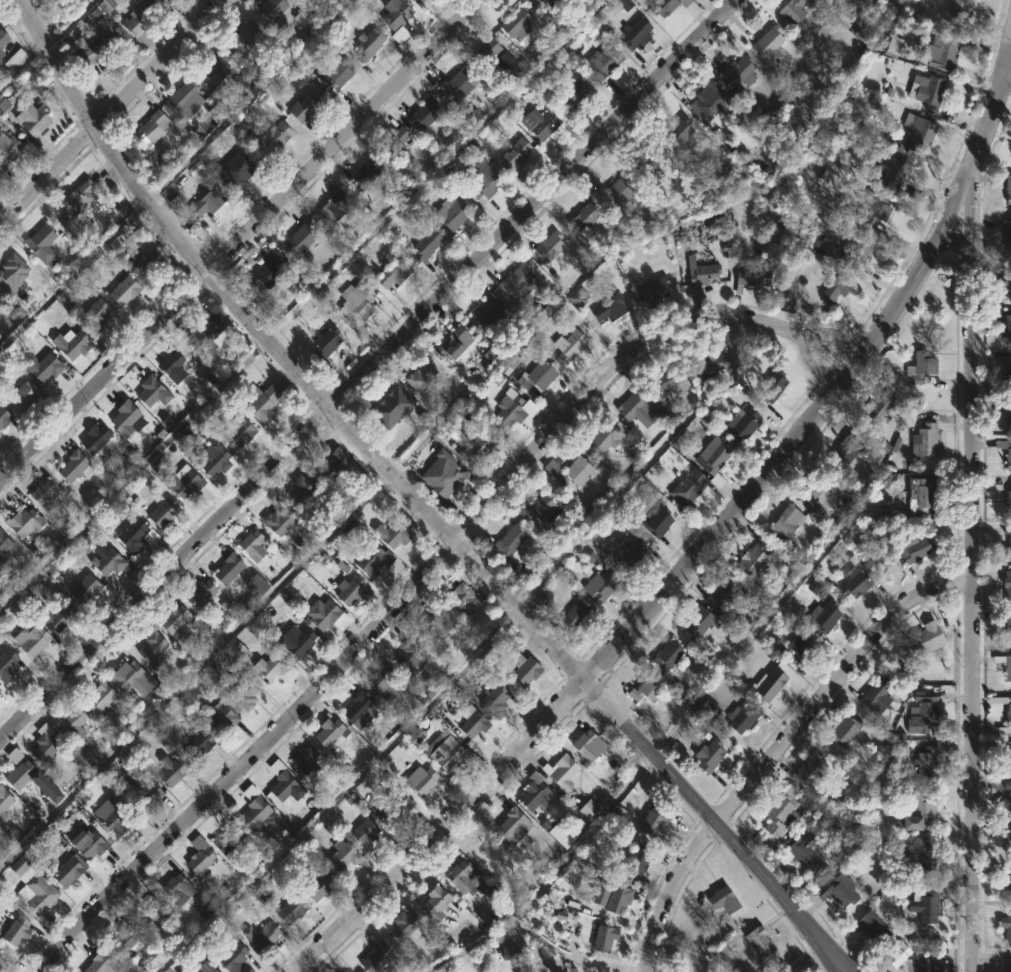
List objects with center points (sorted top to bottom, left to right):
building: (419, 0)
building: (422, 0)
building: (827, 0)
building: (546, 3)
building: (663, 6)
building: (270, 8)
building: (790, 10)
building: (954, 11)
building: (395, 15)
building: (304, 17)
building: (142, 19)
building: (512, 22)
building: (635, 33)
building: (240, 36)
building: (3, 42)
building: (366, 43)
building: (769, 45)
building: (91, 46)
building: (482, 52)
building: (941, 52)
building: (15, 61)
building: (600, 62)
road: (59, 63)
road: (159, 63)
building: (213, 65)
building: (737, 73)
road: (1006, 73)
building: (335, 75)
building: (458, 82)
building: (926, 92)
building: (571, 94)
building: (183, 98)
building: (710, 101)
building: (301, 107)
building: (422, 112)
building: (36, 118)
building: (543, 122)
building: (152, 128)
building: (675, 131)
building: (918, 134)
building: (271, 135)
road: (347, 137)
building: (393, 142)
building: (7, 152)
building: (514, 155)
building: (647, 163)
building: (242, 171)
building: (892, 171)
road: (48, 174)
building: (361, 174)
building: (480, 180)
building: (619, 188)
building: (1008, 189)
building: (77, 200)
road: (147, 201)
building: (203, 203)
building: (331, 208)
building: (872, 208)
building: (582, 216)
building: (450, 217)
building: (1007, 235)
building: (298, 237)
building: (44, 243)
building: (425, 245)
building: (546, 247)
building: (858, 249)
building: (147, 258)
building: (699, 271)
building: (14, 273)
building: (261, 274)
building: (390, 274)
building: (751, 275)
building: (514, 279)
building: (1006, 282)
building: (833, 286)
building: (651, 288)
building: (124, 290)
building: (782, 292)
building: (355, 304)
building: (607, 307)
building: (483, 309)
building: (93, 314)
building: (1002, 326)
building: (208, 328)
building: (324, 342)
building: (451, 343)
building: (71, 344)
building: (569, 348)
building: (712, 362)
building: (47, 367)
building: (170, 367)
building: (923, 368)
road: (367, 369)
building: (1006, 369)
road: (103, 375)
building: (418, 375)
building: (537, 375)
building: (670, 381)
building: (772, 385)
building: (149, 390)
building: (25, 396)
building: (260, 402)
building: (390, 407)
building: (634, 407)
building: (510, 408)
building: (874, 411)
building: (1007, 415)
building: (125, 417)
building: (5, 418)
building: (739, 425)
building: (236, 432)
road: (799, 432)
building: (94, 438)
building: (602, 438)
building: (924, 439)
building: (477, 447)
building: (843, 449)
building: (712, 454)
building: (1007, 457)
building: (215, 461)
building: (331, 465)
building: (74, 466)
building: (574, 471)
building: (441, 474)
road: (393, 476)
building: (180, 482)
building: (686, 487)
building: (299, 490)
building: (813, 491)
building: (919, 494)
building: (47, 496)
building: (1008, 500)
road: (974, 501)
building: (538, 511)
building: (160, 513)
building: (655, 520)
building: (27, 521)
building: (277, 521)
building: (785, 521)
building: (132, 535)
building: (391, 536)
building: (5, 543)
building: (249, 546)
building: (510, 546)
building: (1009, 547)
building: (913, 549)
building: (630, 552)
building: (370, 558)
building: (750, 560)
building: (108, 562)
building: (226, 569)
building: (789, 570)
road: (423, 577)
building: (855, 580)
building: (1006, 583)
building: (601, 585)
building: (254, 586)
building: (86, 588)
building: (349, 590)
building: (197, 594)
building: (729, 600)
building: (458, 601)
building: (318, 612)
building: (574, 614)
building: (61, 615)
building: (823, 616)
building: (171, 617)
building: (698, 621)
building: (1008, 626)
building: (432, 629)
building: (36, 637)
building: (297, 641)
building: (919, 641)
building: (790, 647)
building: (152, 648)
building: (665, 655)
building: (406, 657)
building: (271, 663)
building: (8, 664)
building: (1004, 664)
building: (520, 668)
building: (130, 677)
building: (378, 678)
building: (767, 685)
building: (645, 688)
building: (1, 690)
building: (245, 693)
building: (873, 693)
building: (493, 697)
building: (101, 698)
building: (358, 709)
building: (1008, 714)
building: (921, 715)
building: (742, 716)
building: (220, 717)
building: (471, 722)
building: (73, 724)
building: (841, 727)
building: (326, 731)
building: (586, 744)
building: (194, 745)
building: (47, 747)
road: (781, 748)
building: (446, 753)
building: (1007, 754)
building: (708, 757)
building: (926, 759)
building: (306, 761)
building: (167, 769)
building: (810, 770)
building: (558, 771)
building: (23, 774)
building: (280, 780)
building: (418, 780)
building: (531, 792)
building: (147, 794)
building: (1008, 795)
building: (5, 801)
building: (392, 803)
building: (590, 807)
building: (253, 810)
building: (778, 810)
building: (917, 813)
building: (115, 819)
road: (715, 822)
building: (511, 823)
building: (651, 823)
road: (441, 827)
building: (363, 831)
building: (555, 832)
building: (225, 836)
road: (582, 838)
building: (1008, 842)
building: (90, 845)
building: (805, 851)
building: (340, 854)
building: (196, 855)
building: (921, 857)
building: (631, 861)
building: (21, 868)
building: (68, 868)
building: (460, 876)
building: (1007, 885)
building: (314, 888)
building: (174, 889)
building: (839, 890)
building: (40, 892)
building: (615, 899)
building: (722, 899)
building: (434, 903)
building: (924, 906)
building: (289, 908)
building: (150, 913)
building: (1006, 924)
building: (403, 925)
building: (868, 927)
building: (19, 931)
road: (529, 934)
building: (260, 937)
building: (604, 938)
building: (758, 942)
building: (129, 943)
building: (1, 953)
building: (374, 956)
building: (230, 958)
building: (2, 962)
building: (924, 962)
building: (99, 963)
building: (1008, 963)
building: (205, 965)
building: (0, 971)

